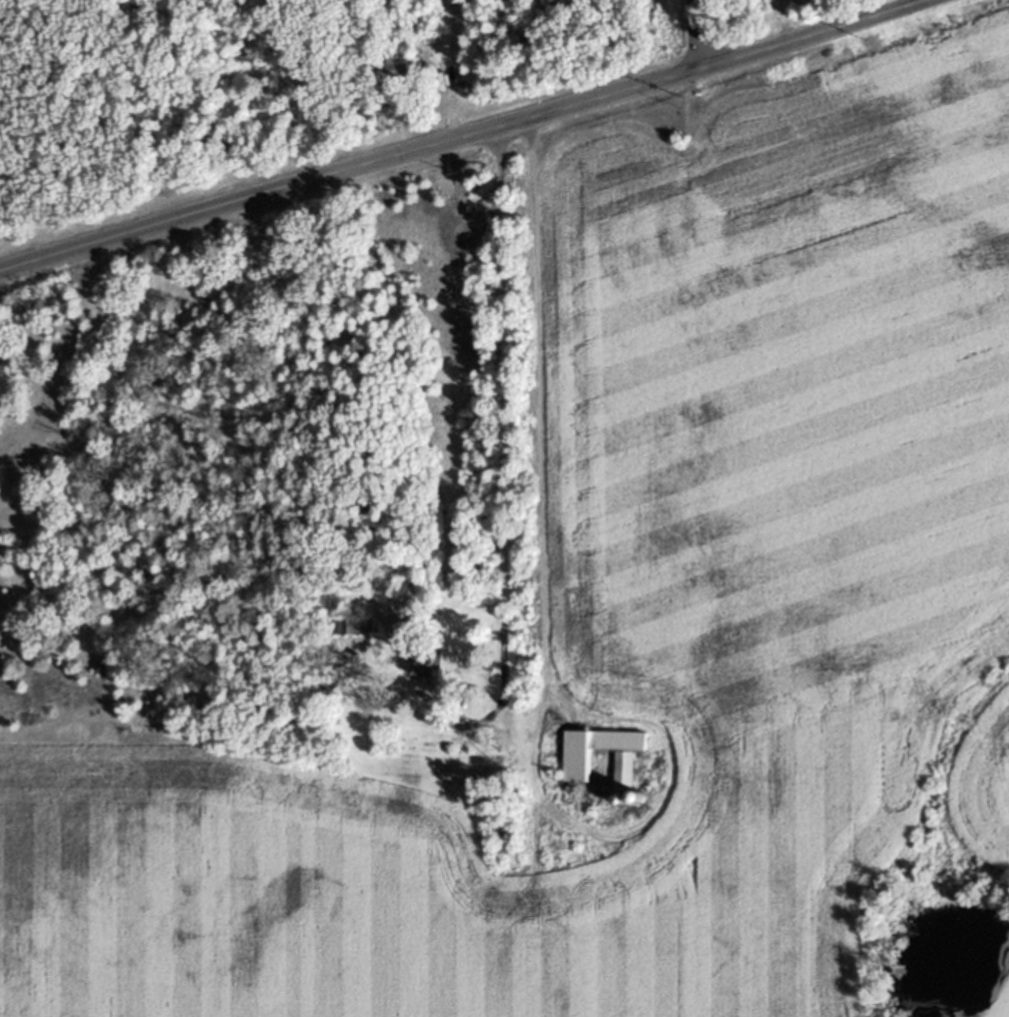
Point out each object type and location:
road: (694, 37)
road: (468, 138)
road: (532, 421)
road: (501, 442)
building: (356, 631)
building: (429, 671)
building: (605, 764)

